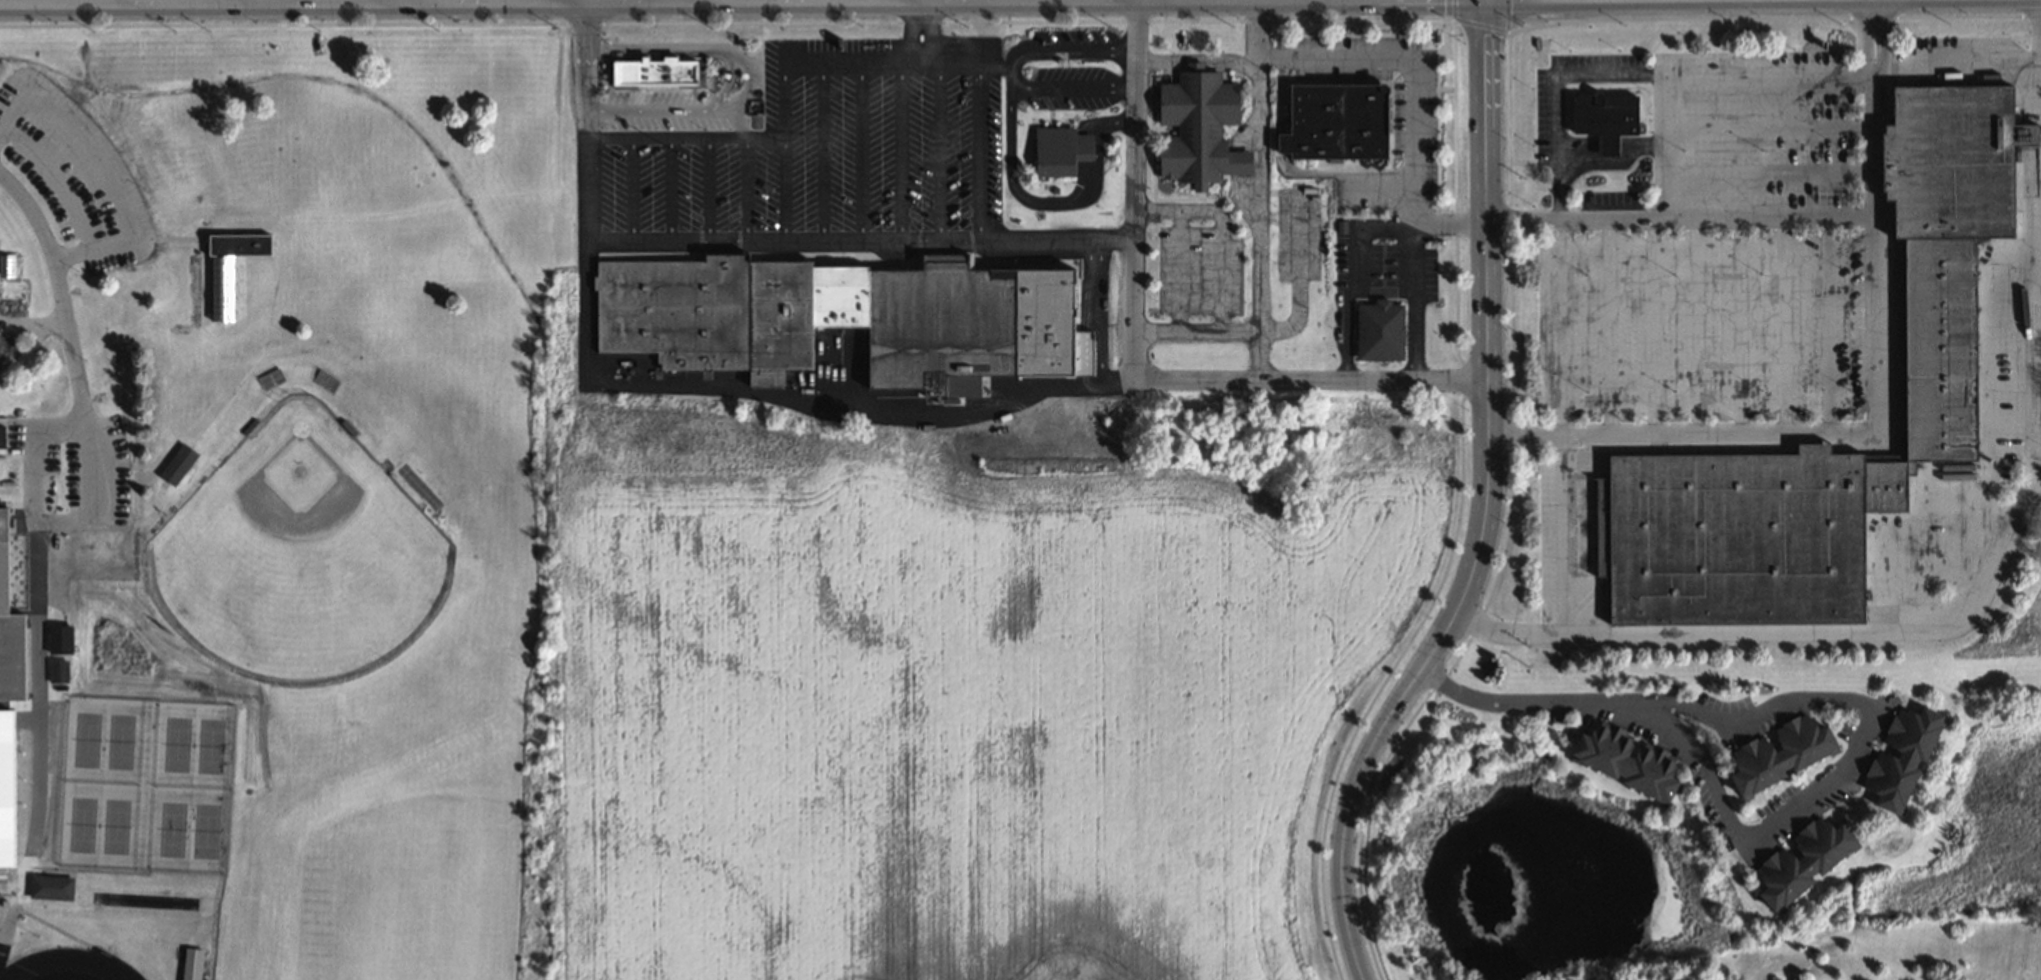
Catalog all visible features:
road: (106, 1)
road: (232, 1)
road: (296, 1)
road: (410, 1)
road: (685, 1)
road: (452, 2)
road: (1078, 48)
road: (1016, 55)
road: (1930, 58)
road: (995, 64)
road: (1402, 68)
building: (655, 70)
road: (1010, 74)
road: (980, 81)
road: (1071, 86)
building: (1604, 118)
road: (1134, 119)
building: (1329, 122)
building: (1197, 129)
road: (1867, 137)
building: (1059, 149)
building: (1946, 159)
road: (1254, 189)
road: (1051, 202)
road: (925, 239)
road: (1415, 261)
road: (67, 279)
building: (811, 316)
road: (1871, 324)
building: (1378, 330)
building: (1937, 346)
building: (269, 378)
building: (324, 380)
building: (1594, 396)
road: (856, 406)
building: (1882, 484)
road: (1486, 505)
building: (1734, 536)
park: (300, 551)
building: (10, 657)
crop: (984, 693)
road: (1652, 701)
building: (1777, 752)
building: (1898, 756)
building: (1623, 759)
park: (146, 784)
road: (1741, 836)
building: (1800, 860)
park: (445, 899)

